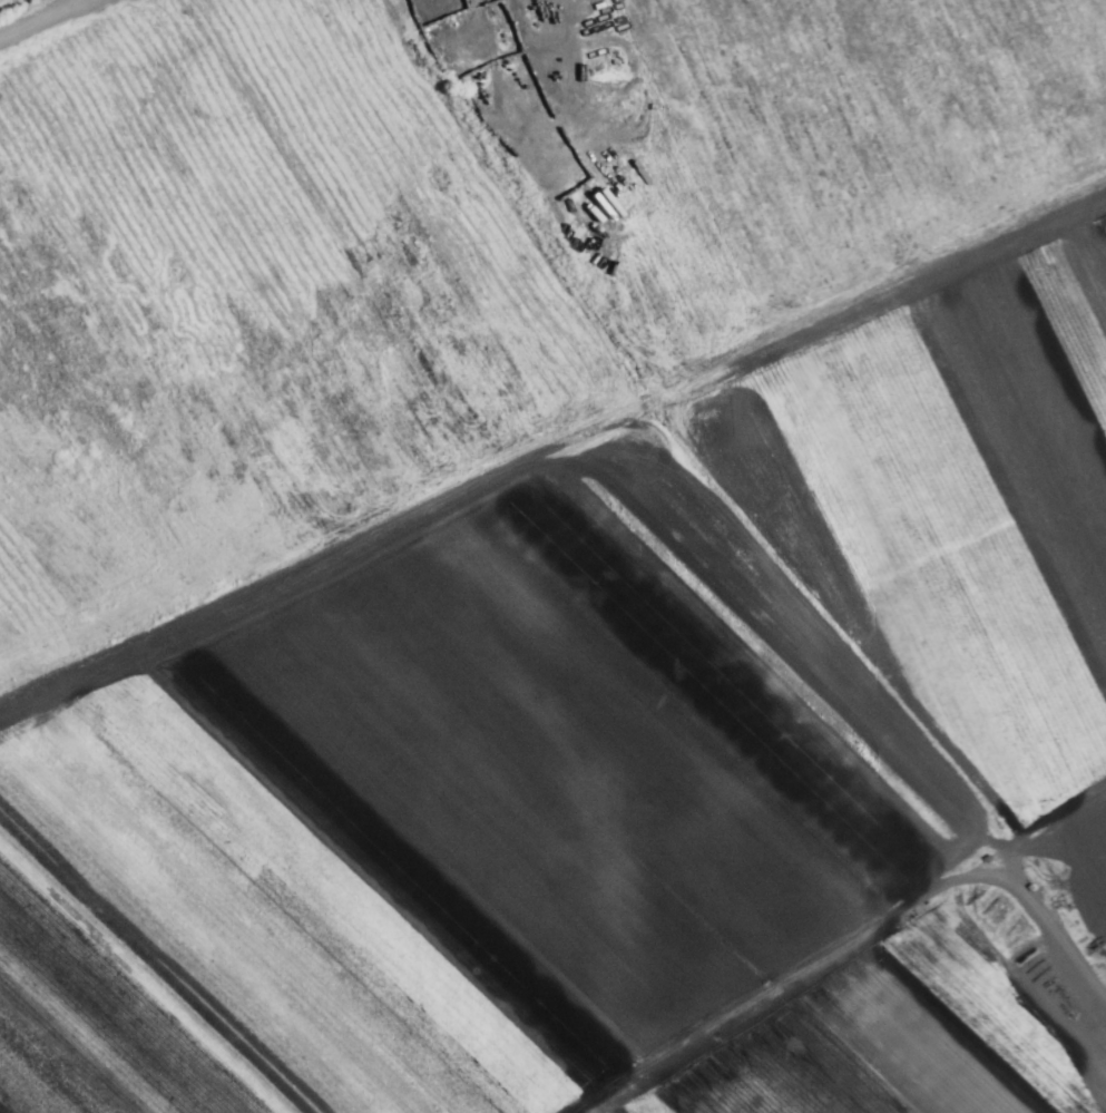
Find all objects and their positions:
crop: (1099, 13)
crop: (438, 237)
crop: (623, 751)

